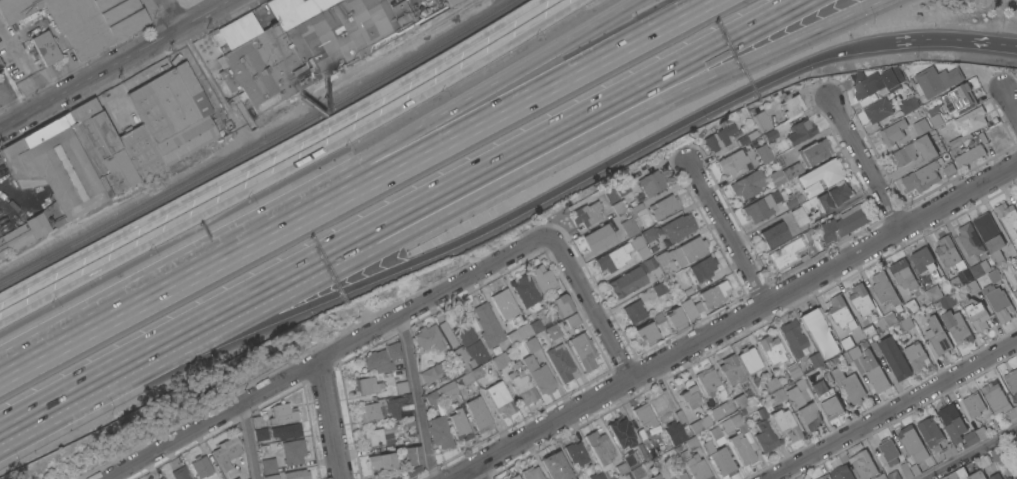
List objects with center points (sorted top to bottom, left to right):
building: (446, 1)
building: (451, 2)
building: (83, 20)
road: (923, 38)
building: (303, 43)
road: (986, 43)
building: (46, 47)
road: (200, 62)
building: (0, 64)
road: (116, 64)
building: (891, 78)
building: (936, 80)
building: (863, 87)
building: (957, 98)
road: (1009, 102)
building: (908, 105)
building: (791, 106)
road: (9, 107)
building: (880, 111)
building: (174, 112)
road: (429, 117)
building: (766, 120)
building: (935, 120)
building: (968, 125)
road: (472, 126)
building: (921, 126)
road: (565, 128)
road: (603, 129)
building: (799, 131)
building: (892, 133)
building: (769, 135)
building: (726, 138)
railway: (258, 146)
building: (942, 149)
building: (141, 151)
road: (270, 151)
building: (914, 151)
building: (813, 152)
building: (762, 154)
building: (968, 155)
building: (731, 162)
road: (866, 162)
road: (292, 164)
building: (67, 167)
building: (823, 169)
building: (791, 170)
building: (949, 170)
building: (775, 177)
building: (922, 177)
building: (651, 182)
building: (747, 184)
building: (797, 187)
building: (812, 189)
building: (622, 191)
building: (839, 193)
building: (775, 197)
building: (799, 198)
building: (1015, 200)
road: (528, 203)
building: (789, 204)
building: (816, 204)
building: (618, 207)
building: (663, 207)
building: (841, 207)
building: (759, 209)
building: (588, 212)
building: (798, 216)
building: (1007, 218)
building: (631, 220)
building: (842, 224)
building: (677, 227)
road: (728, 233)
building: (648, 235)
building: (772, 235)
building: (809, 235)
building: (989, 237)
building: (597, 238)
building: (969, 240)
building: (3, 247)
building: (690, 249)
building: (793, 249)
building: (946, 251)
building: (642, 253)
building: (778, 257)
building: (613, 258)
building: (662, 259)
building: (926, 263)
building: (652, 268)
building: (702, 269)
building: (979, 269)
building: (902, 275)
building: (1007, 275)
building: (994, 276)
building: (542, 278)
building: (626, 282)
building: (954, 283)
building: (971, 287)
building: (658, 289)
building: (883, 289)
building: (525, 291)
building: (688, 291)
building: (933, 293)
building: (1015, 293)
building: (713, 295)
building: (860, 300)
building: (946, 302)
building: (998, 303)
road: (243, 304)
building: (503, 304)
road: (116, 305)
building: (562, 305)
road: (592, 305)
building: (911, 307)
building: (690, 308)
building: (634, 312)
building: (840, 313)
building: (975, 314)
building: (673, 317)
building: (914, 318)
building: (569, 322)
road: (733, 322)
building: (906, 323)
building: (880, 325)
building: (487, 326)
building: (532, 328)
building: (956, 328)
building: (819, 333)
building: (447, 334)
building: (645, 334)
building: (937, 337)
building: (428, 338)
building: (792, 338)
building: (846, 343)
building: (531, 345)
building: (468, 348)
building: (771, 349)
building: (392, 351)
building: (582, 351)
road: (328, 355)
building: (813, 357)
building: (846, 357)
building: (915, 357)
building: (748, 359)
building: (894, 359)
building: (499, 360)
building: (835, 360)
building: (377, 362)
building: (561, 364)
building: (731, 371)
building: (871, 371)
building: (793, 372)
building: (431, 373)
building: (538, 375)
building: (706, 380)
building: (1011, 380)
building: (459, 382)
building: (771, 384)
building: (366, 385)
building: (521, 385)
building: (399, 386)
building: (849, 386)
road: (78, 393)
building: (688, 394)
building: (777, 396)
road: (416, 397)
building: (995, 397)
building: (431, 398)
building: (499, 398)
building: (827, 399)
building: (739, 401)
building: (664, 404)
building: (803, 405)
building: (974, 407)
building: (385, 408)
building: (720, 409)
road: (893, 410)
building: (741, 412)
building: (282, 413)
building: (1012, 414)
building: (478, 415)
building: (643, 415)
building: (680, 416)
road: (330, 419)
building: (258, 420)
building: (952, 423)
building: (699, 424)
building: (733, 424)
building: (785, 424)
building: (459, 425)
building: (286, 430)
building: (388, 430)
building: (439, 432)
building: (929, 432)
building: (260, 433)
building: (620, 433)
building: (674, 433)
building: (641, 434)
building: (764, 434)
building: (716, 436)
building: (973, 436)
building: (372, 437)
building: (388, 438)
building: (1015, 440)
road: (247, 441)
building: (912, 444)
building: (599, 447)
building: (741, 449)
building: (227, 451)
building: (293, 451)
building: (888, 452)
road: (969, 452)
building: (575, 453)
building: (411, 455)
building: (994, 455)
building: (631, 459)
building: (693, 460)
building: (720, 461)
building: (985, 461)
building: (381, 462)
building: (201, 465)
building: (268, 465)
building: (863, 465)
building: (555, 467)
building: (621, 468)
building: (905, 469)
building: (914, 470)
building: (413, 472)
road: (475, 472)
building: (637, 472)
building: (181, 473)
building: (531, 473)
building: (841, 473)
building: (296, 474)
building: (893, 475)
building: (963, 475)
building: (232, 476)
building: (271, 476)
building: (597, 476)
building: (681, 476)
building: (394, 477)
building: (513, 477)
building: (655, 477)
building: (881, 477)
building: (995, 477)
building: (161, 478)
building: (243, 478)
building: (248, 478)
building: (821, 478)

